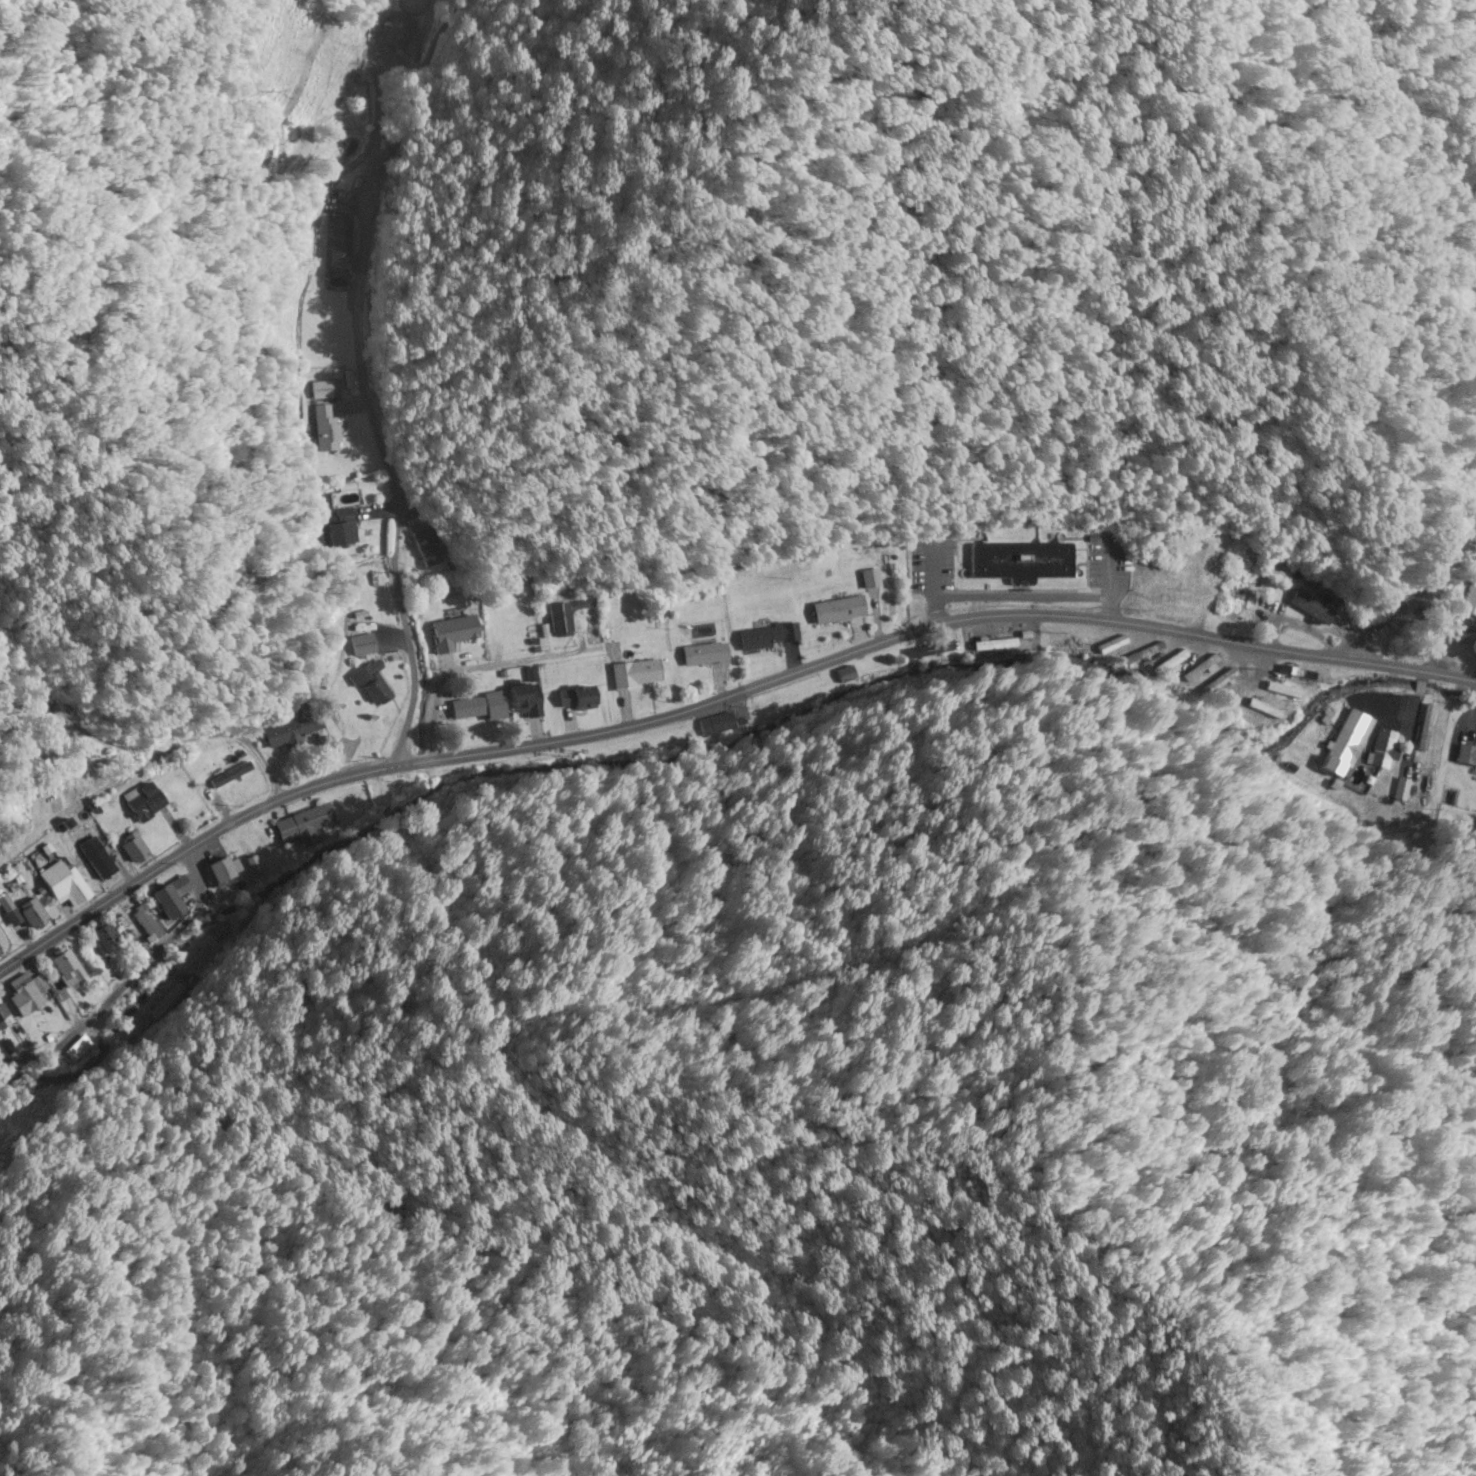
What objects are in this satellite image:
building: (397, 36)
building: (323, 417)
road: (394, 483)
building: (346, 497)
building: (429, 547)
building: (1023, 561)
building: (871, 579)
road: (1424, 597)
building: (1472, 603)
building: (582, 606)
building: (1313, 609)
building: (839, 610)
building: (557, 621)
building: (454, 633)
building: (767, 637)
building: (705, 654)
road: (487, 666)
building: (637, 674)
building: (377, 679)
road: (714, 692)
building: (578, 698)
building: (527, 700)
building: (480, 707)
building: (297, 723)
building: (715, 728)
building: (1385, 751)
building: (1425, 755)
building: (1466, 755)
building: (145, 802)
building: (305, 826)
building: (135, 851)
building: (104, 862)
building: (226, 870)
building: (63, 885)
building: (173, 899)
building: (24, 914)
building: (147, 924)
building: (103, 937)
building: (3, 946)
road: (155, 950)
building: (65, 969)
building: (27, 994)
building: (165, 1002)
building: (3, 1013)

